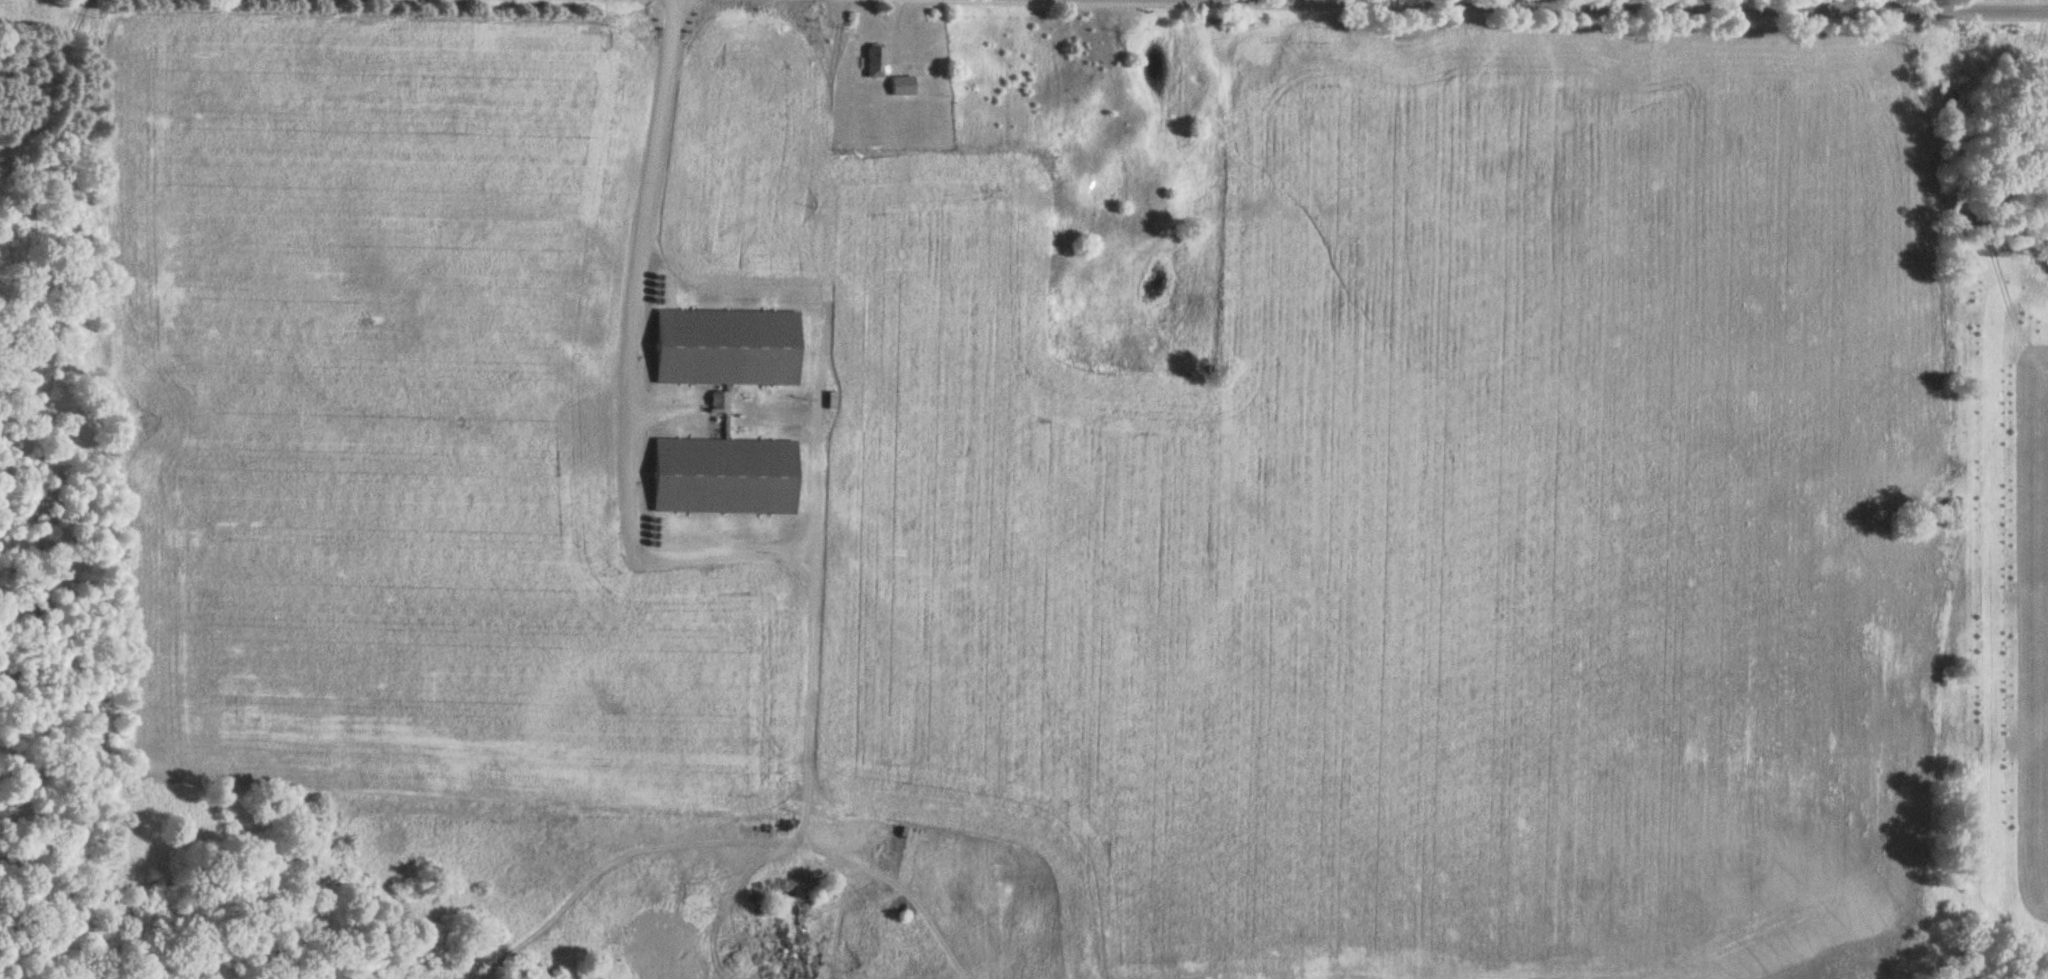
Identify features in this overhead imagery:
road: (1762, 4)
road: (2026, 4)
road: (893, 15)
road: (886, 23)
building: (882, 72)

